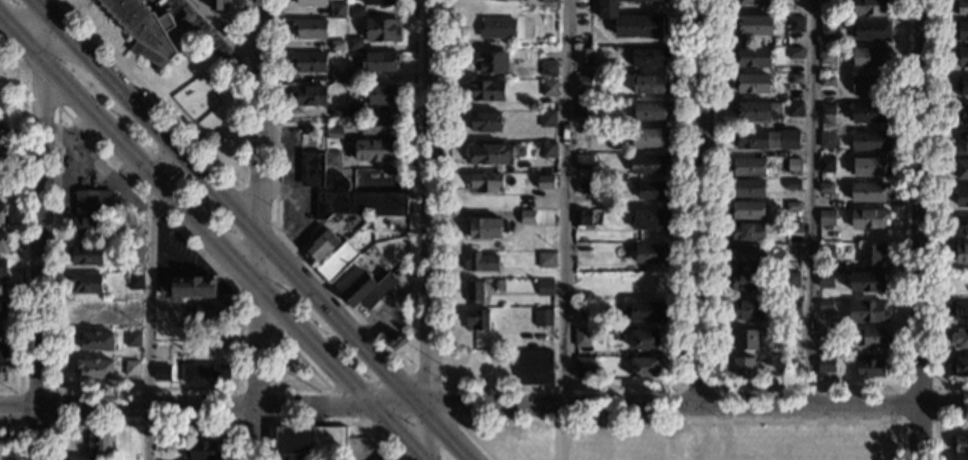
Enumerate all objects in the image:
building: (506, 0)
building: (548, 1)
building: (311, 2)
building: (379, 2)
building: (756, 2)
building: (219, 5)
building: (828, 6)
building: (872, 7)
building: (961, 7)
building: (338, 10)
building: (355, 12)
building: (631, 20)
building: (796, 24)
building: (754, 25)
building: (497, 28)
building: (309, 29)
building: (147, 30)
building: (383, 30)
building: (828, 30)
building: (871, 31)
building: (960, 31)
road: (221, 33)
building: (549, 39)
building: (337, 45)
building: (353, 45)
building: (794, 53)
building: (584, 56)
building: (827, 56)
building: (960, 56)
building: (649, 57)
building: (752, 57)
building: (871, 57)
building: (380, 61)
building: (309, 62)
building: (490, 63)
building: (548, 68)
building: (352, 77)
building: (337, 78)
building: (796, 78)
building: (827, 81)
building: (584, 83)
building: (751, 83)
building: (649, 84)
building: (871, 85)
building: (962, 86)
building: (549, 88)
building: (487, 90)
building: (383, 94)
building: (309, 95)
road: (52, 101)
building: (795, 109)
building: (827, 109)
building: (353, 110)
building: (582, 110)
building: (651, 110)
building: (336, 111)
building: (756, 111)
building: (869, 113)
building: (962, 113)
building: (547, 119)
building: (486, 122)
building: (379, 126)
building: (307, 130)
building: (1, 131)
building: (334, 133)
road: (72, 134)
building: (581, 134)
building: (649, 137)
building: (826, 137)
building: (750, 139)
building: (789, 140)
building: (870, 141)
building: (961, 144)
building: (376, 150)
building: (548, 150)
building: (490, 154)
building: (3, 155)
road: (75, 158)
building: (332, 159)
building: (582, 162)
road: (215, 163)
building: (648, 164)
building: (794, 165)
building: (826, 165)
building: (747, 166)
building: (869, 167)
building: (960, 168)
road: (93, 180)
building: (545, 182)
building: (486, 183)
building: (792, 185)
building: (2, 186)
building: (324, 186)
building: (584, 187)
building: (747, 188)
building: (826, 188)
building: (653, 191)
building: (869, 192)
building: (960, 196)
road: (145, 198)
road: (810, 202)
building: (93, 203)
road: (699, 203)
building: (378, 204)
road: (428, 205)
building: (792, 207)
road: (938, 208)
road: (257, 209)
building: (747, 210)
building: (3, 212)
building: (527, 217)
building: (827, 218)
building: (870, 218)
building: (582, 219)
building: (649, 219)
road: (21, 220)
building: (86, 226)
building: (961, 226)
building: (486, 228)
building: (794, 228)
road: (40, 229)
road: (254, 230)
road: (256, 230)
road: (564, 230)
road: (922, 230)
building: (746, 231)
building: (134, 236)
road: (210, 236)
building: (3, 240)
building: (320, 247)
building: (826, 249)
building: (582, 251)
building: (651, 253)
building: (960, 253)
building: (873, 254)
building: (85, 255)
building: (133, 255)
building: (745, 255)
building: (546, 260)
building: (337, 262)
building: (481, 262)
building: (2, 269)
building: (825, 279)
building: (790, 280)
building: (744, 281)
building: (866, 281)
building: (135, 282)
building: (652, 282)
building: (84, 283)
building: (2, 287)
building: (189, 287)
building: (545, 287)
building: (358, 290)
building: (475, 292)
road: (149, 301)
building: (825, 305)
building: (793, 307)
building: (213, 309)
building: (959, 309)
building: (2, 310)
building: (164, 310)
building: (745, 310)
building: (649, 311)
building: (867, 311)
road: (255, 312)
building: (543, 317)
building: (477, 320)
building: (1, 332)
building: (789, 334)
building: (582, 337)
building: (874, 337)
building: (960, 338)
building: (132, 339)
building: (645, 339)
building: (746, 340)
building: (97, 341)
building: (825, 345)
building: (2, 352)
road: (391, 352)
road: (301, 358)
building: (790, 363)
building: (825, 364)
building: (959, 365)
building: (644, 367)
building: (744, 367)
building: (96, 368)
building: (131, 368)
building: (535, 368)
building: (584, 368)
building: (872, 368)
building: (2, 372)
building: (162, 373)
building: (206, 375)
road: (808, 386)
road: (935, 386)
road: (237, 387)
road: (560, 387)
road: (696, 387)
road: (54, 388)
road: (483, 409)
road: (456, 415)
road: (672, 421)
road: (324, 422)
road: (146, 423)
road: (934, 424)
road: (18, 432)
road: (428, 435)
building: (310, 441)
building: (99, 443)
building: (960, 444)
building: (202, 451)
building: (0, 454)
building: (961, 457)
building: (81, 458)
building: (299, 458)
building: (386, 459)

